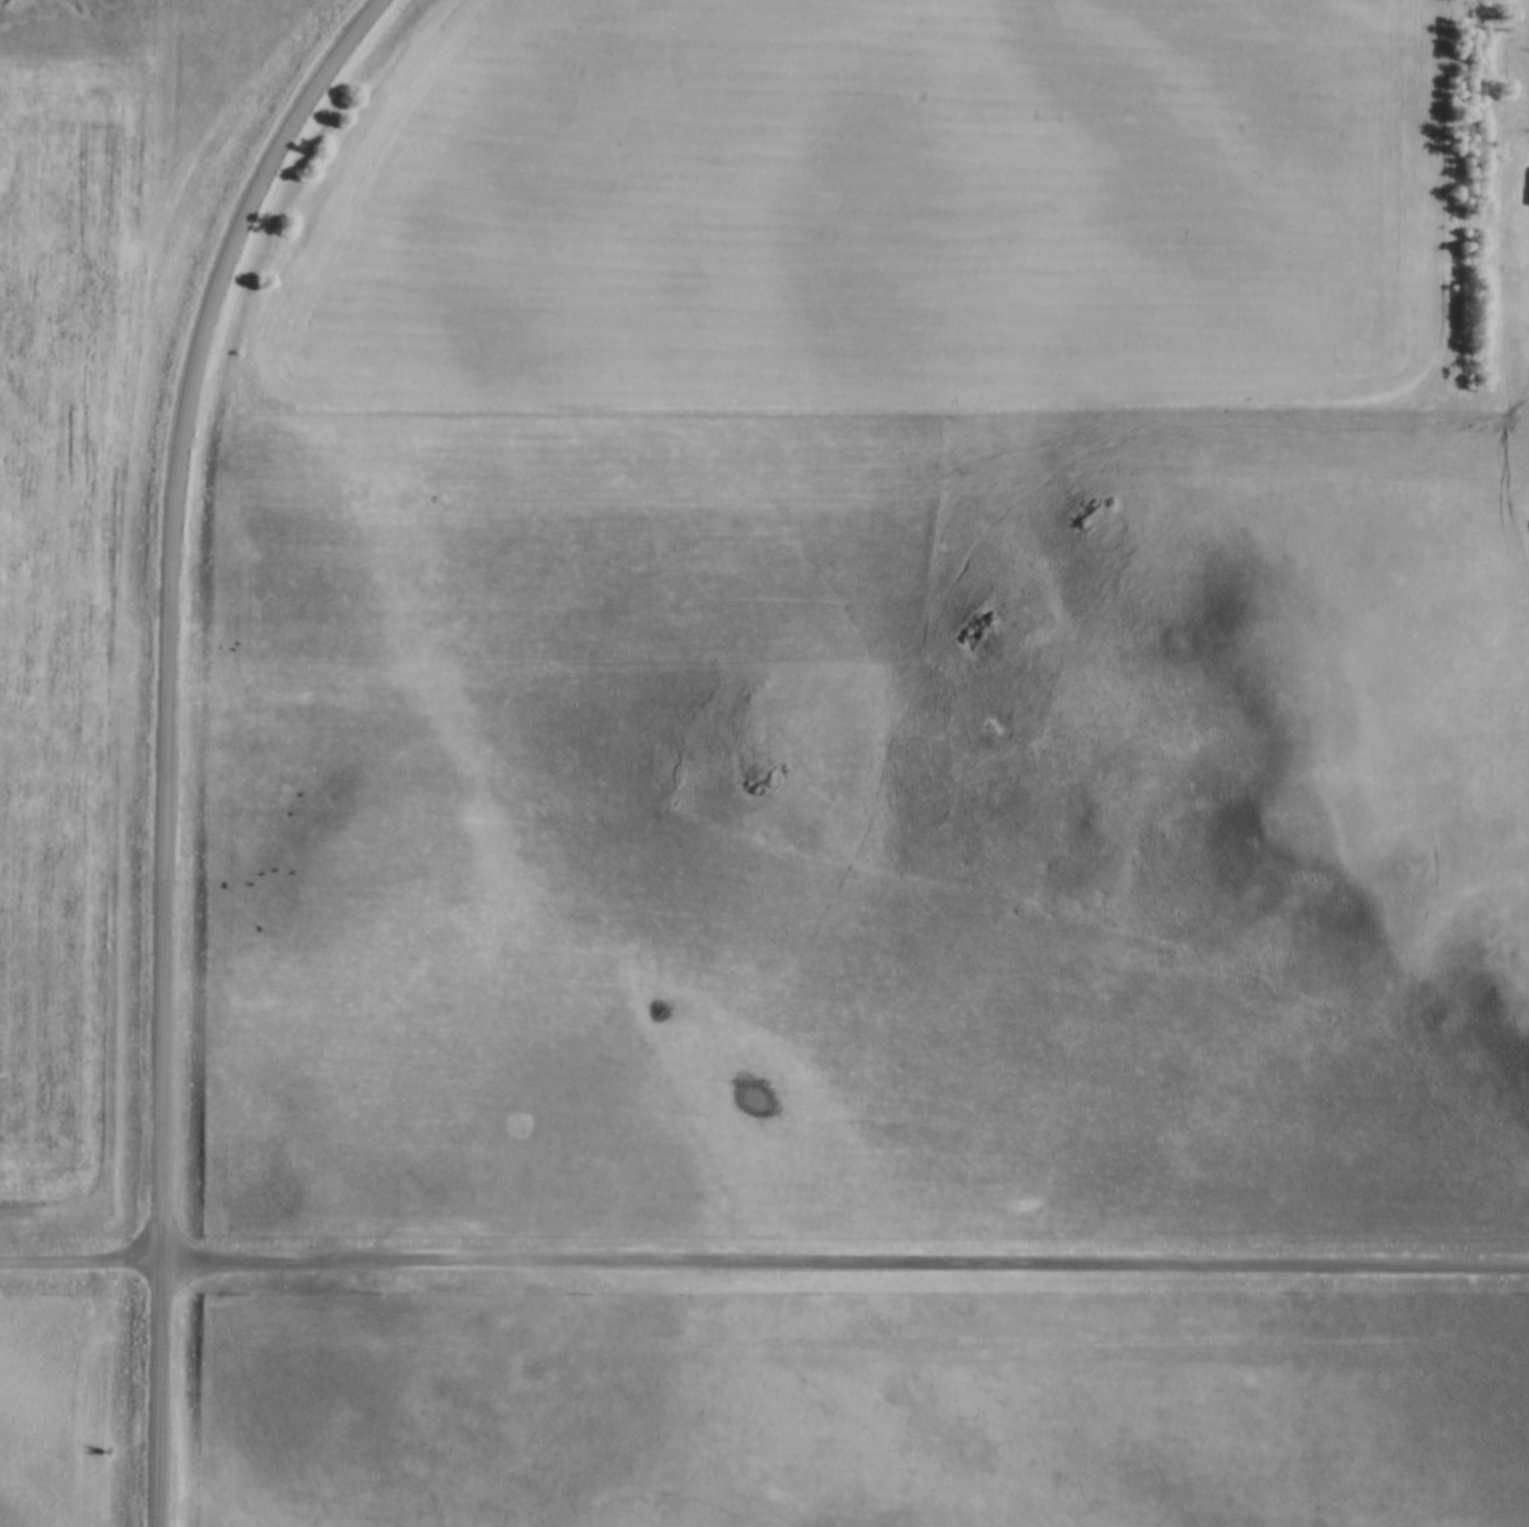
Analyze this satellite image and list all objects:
road: (165, 739)
road: (845, 1257)
road: (80, 1258)

